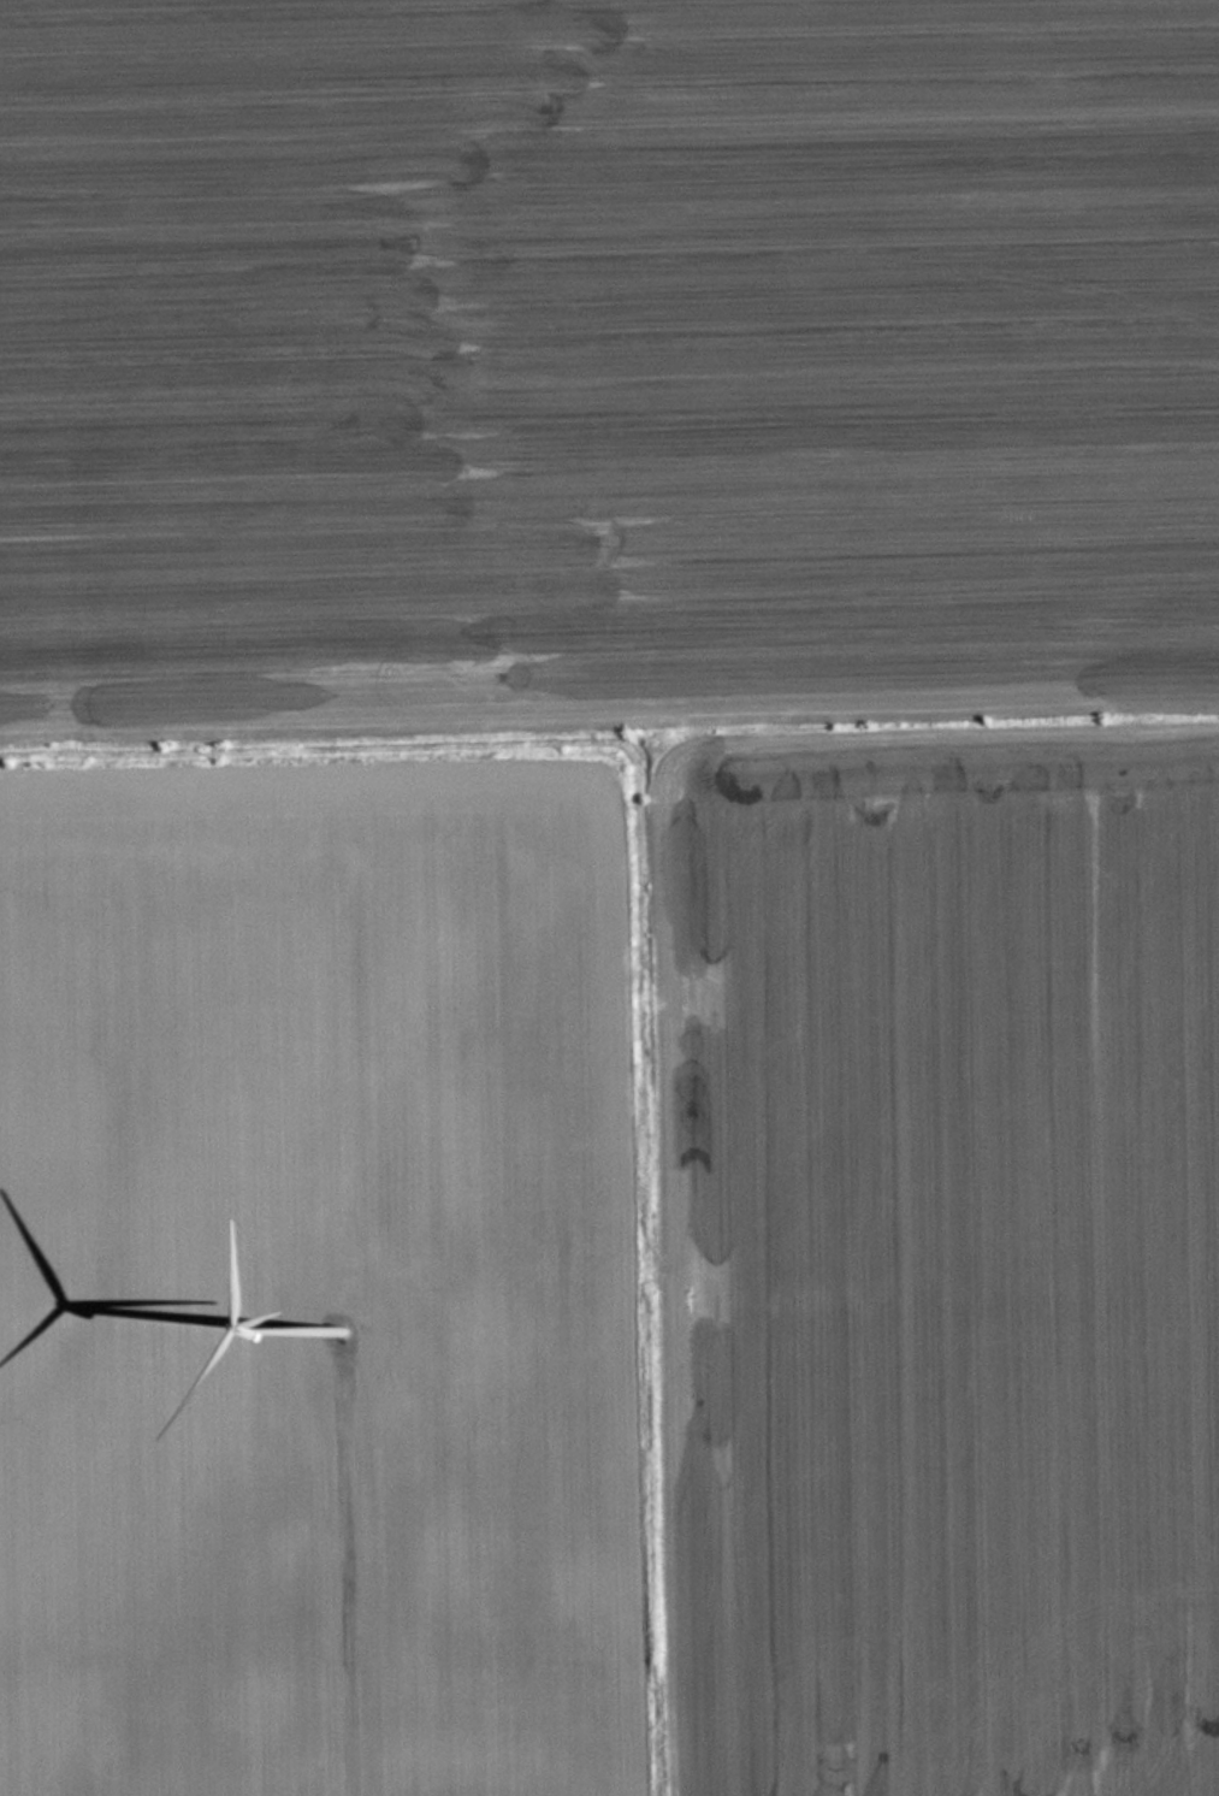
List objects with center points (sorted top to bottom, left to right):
wind turbine: (333, 1319)
road: (348, 1587)

